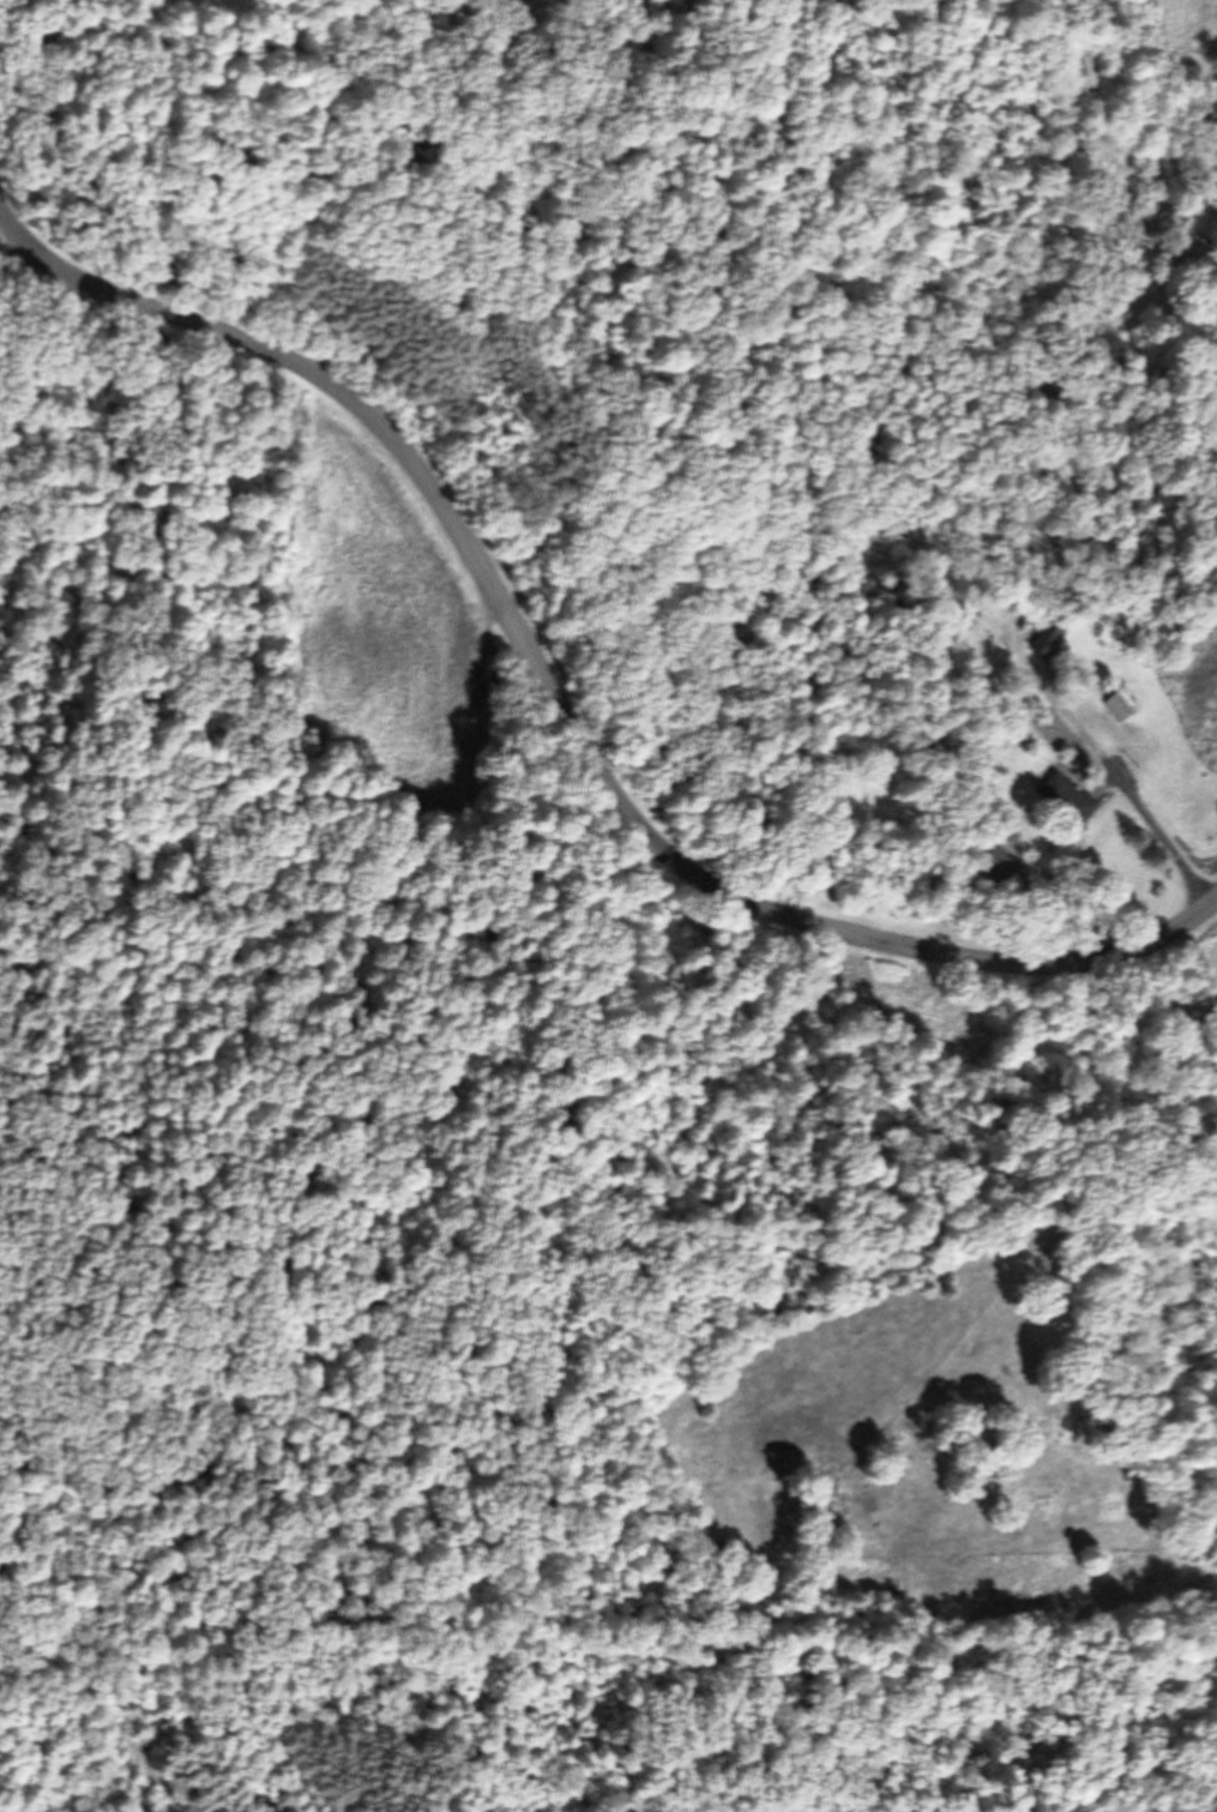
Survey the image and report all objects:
building: (1046, 639)
road: (559, 698)
building: (1116, 706)
building: (1001, 871)

